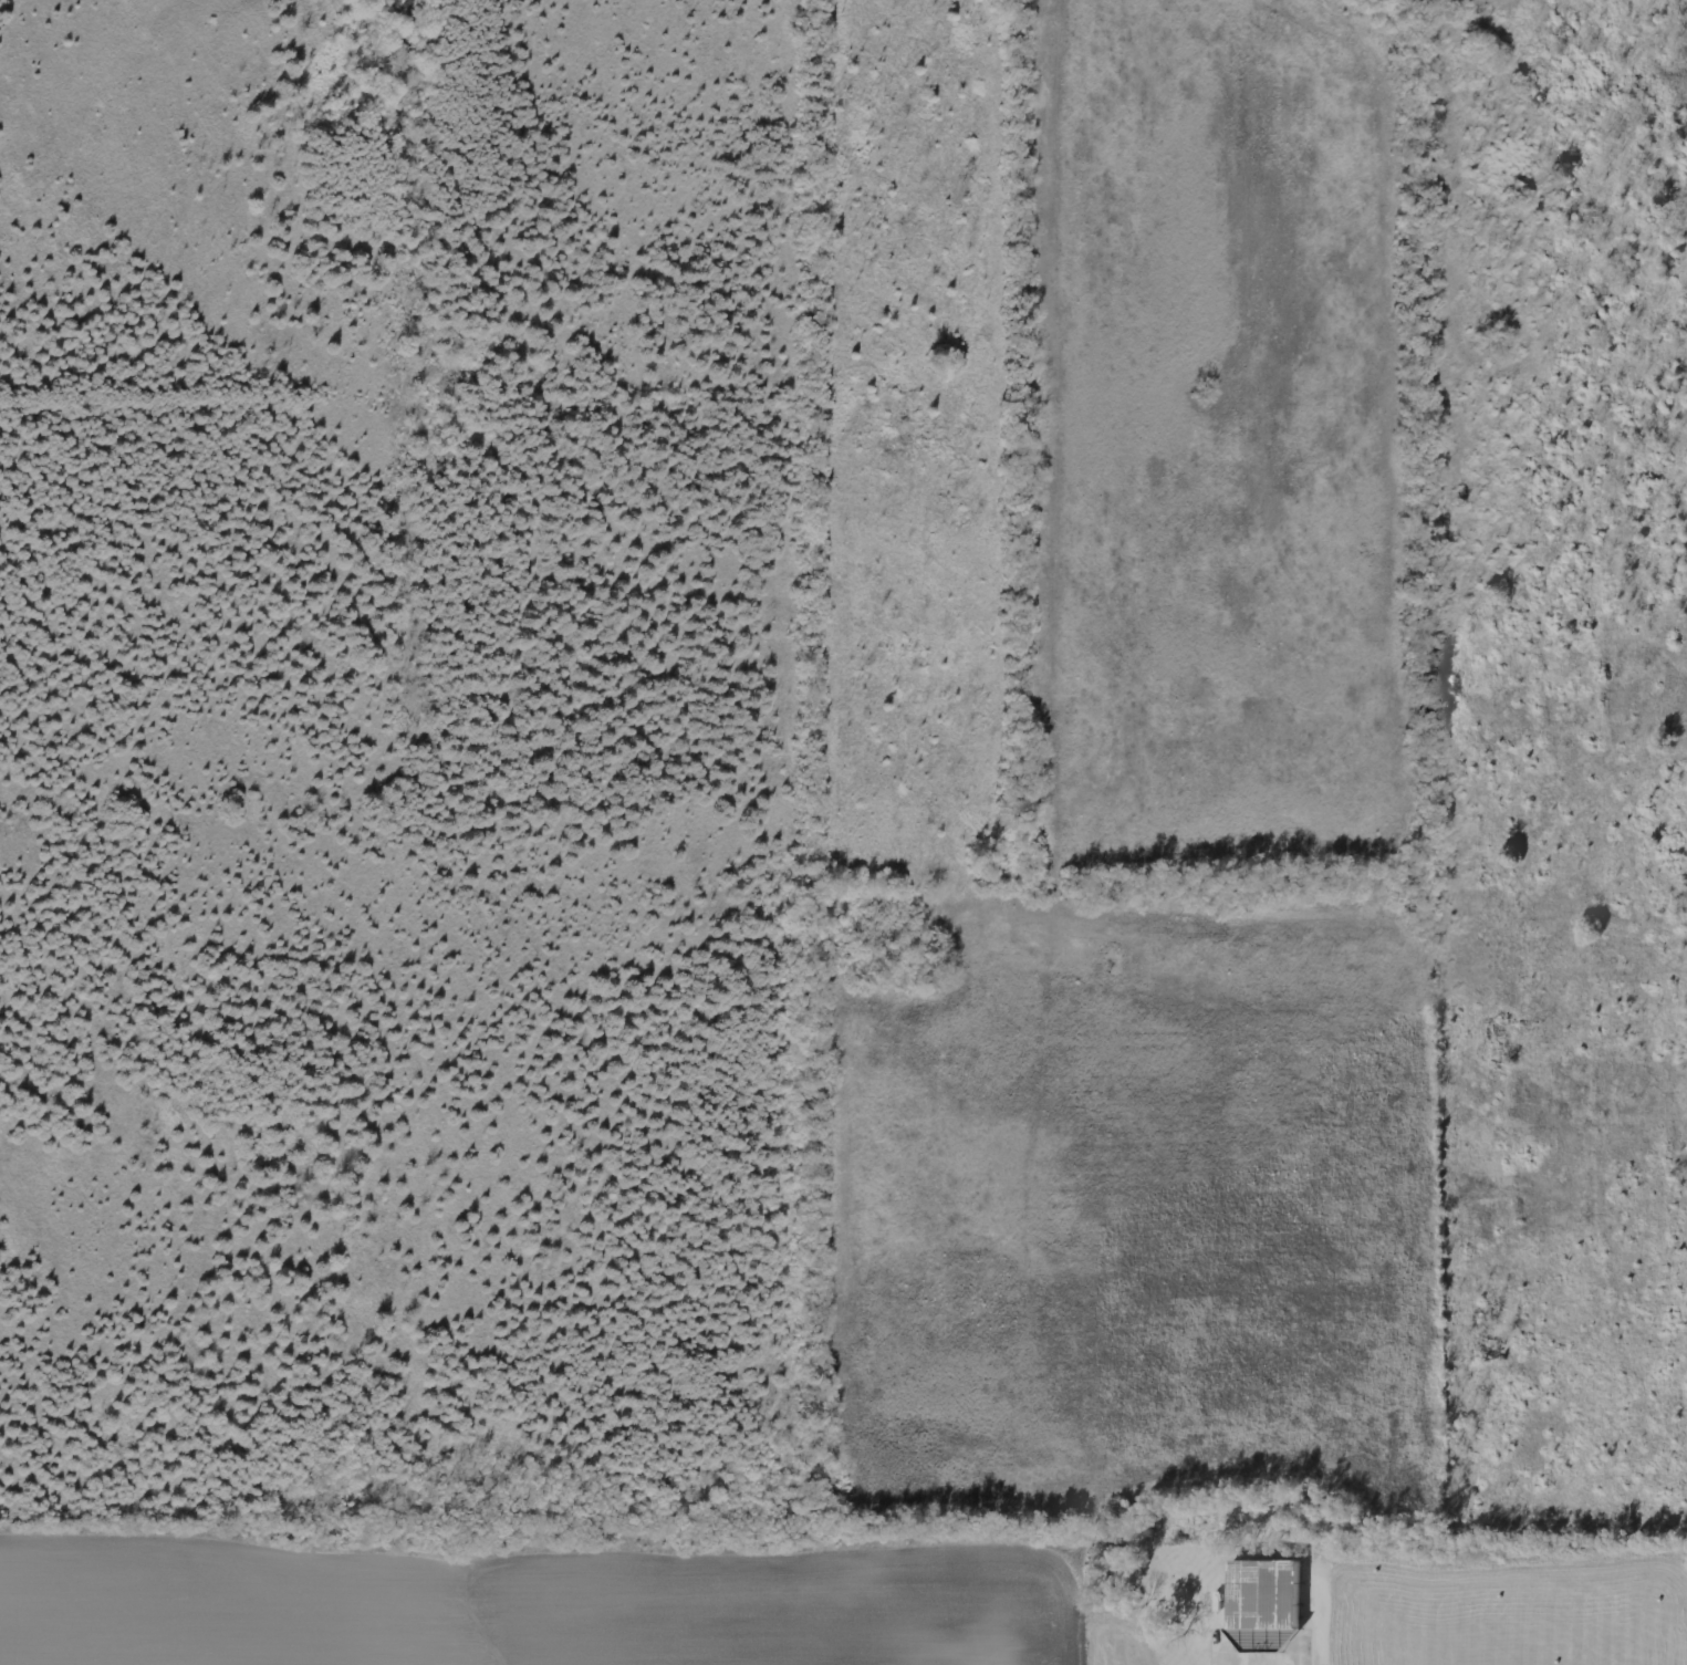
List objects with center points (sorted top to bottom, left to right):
building: (1269, 1603)

